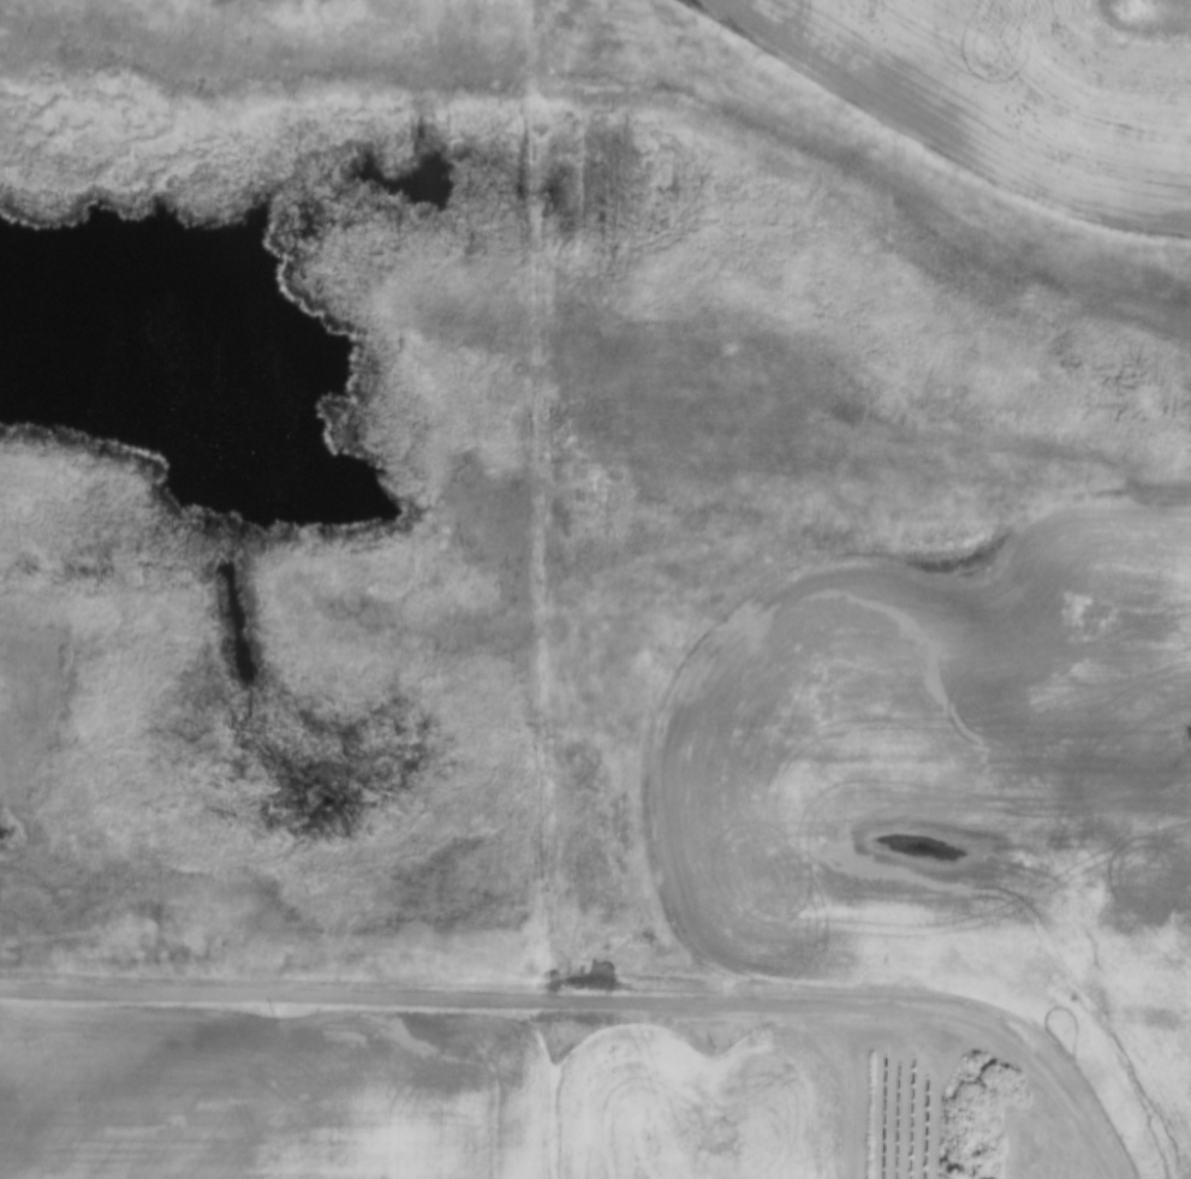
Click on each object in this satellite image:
road: (585, 1004)

